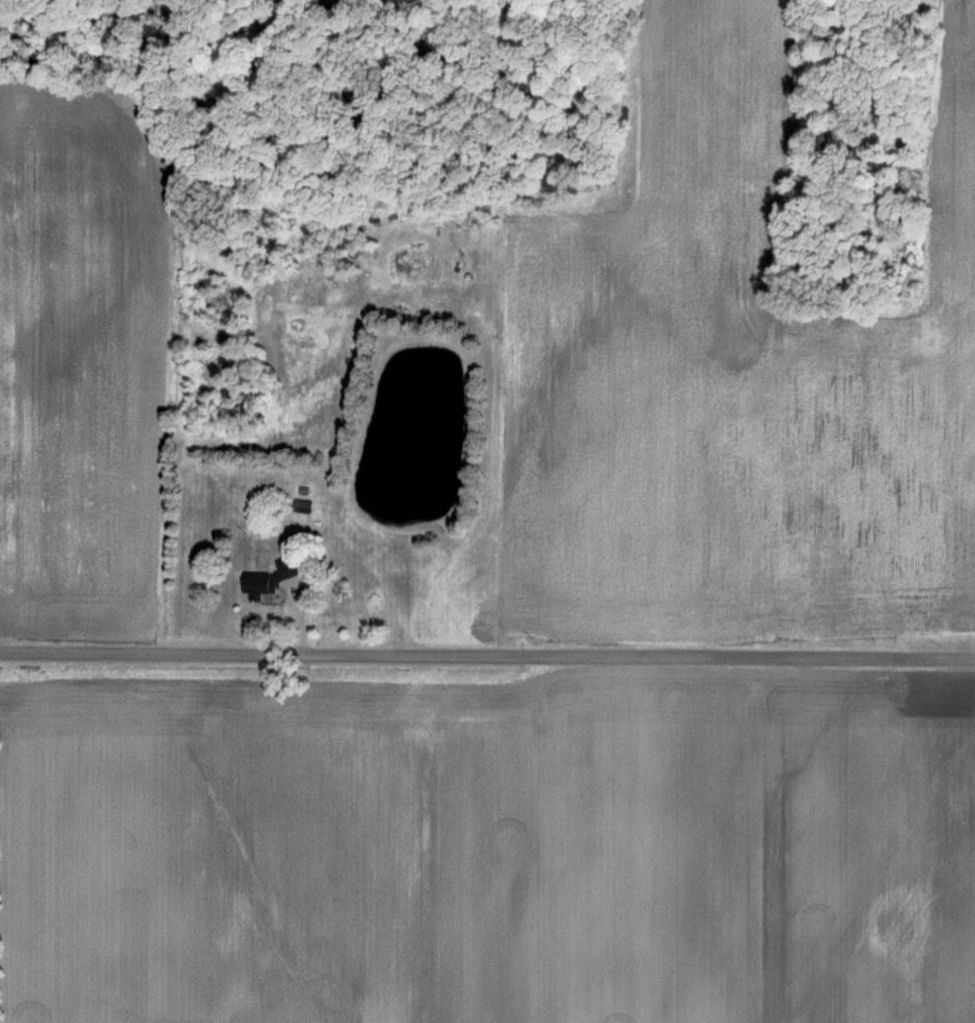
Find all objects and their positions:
building: (270, 581)
road: (487, 654)

